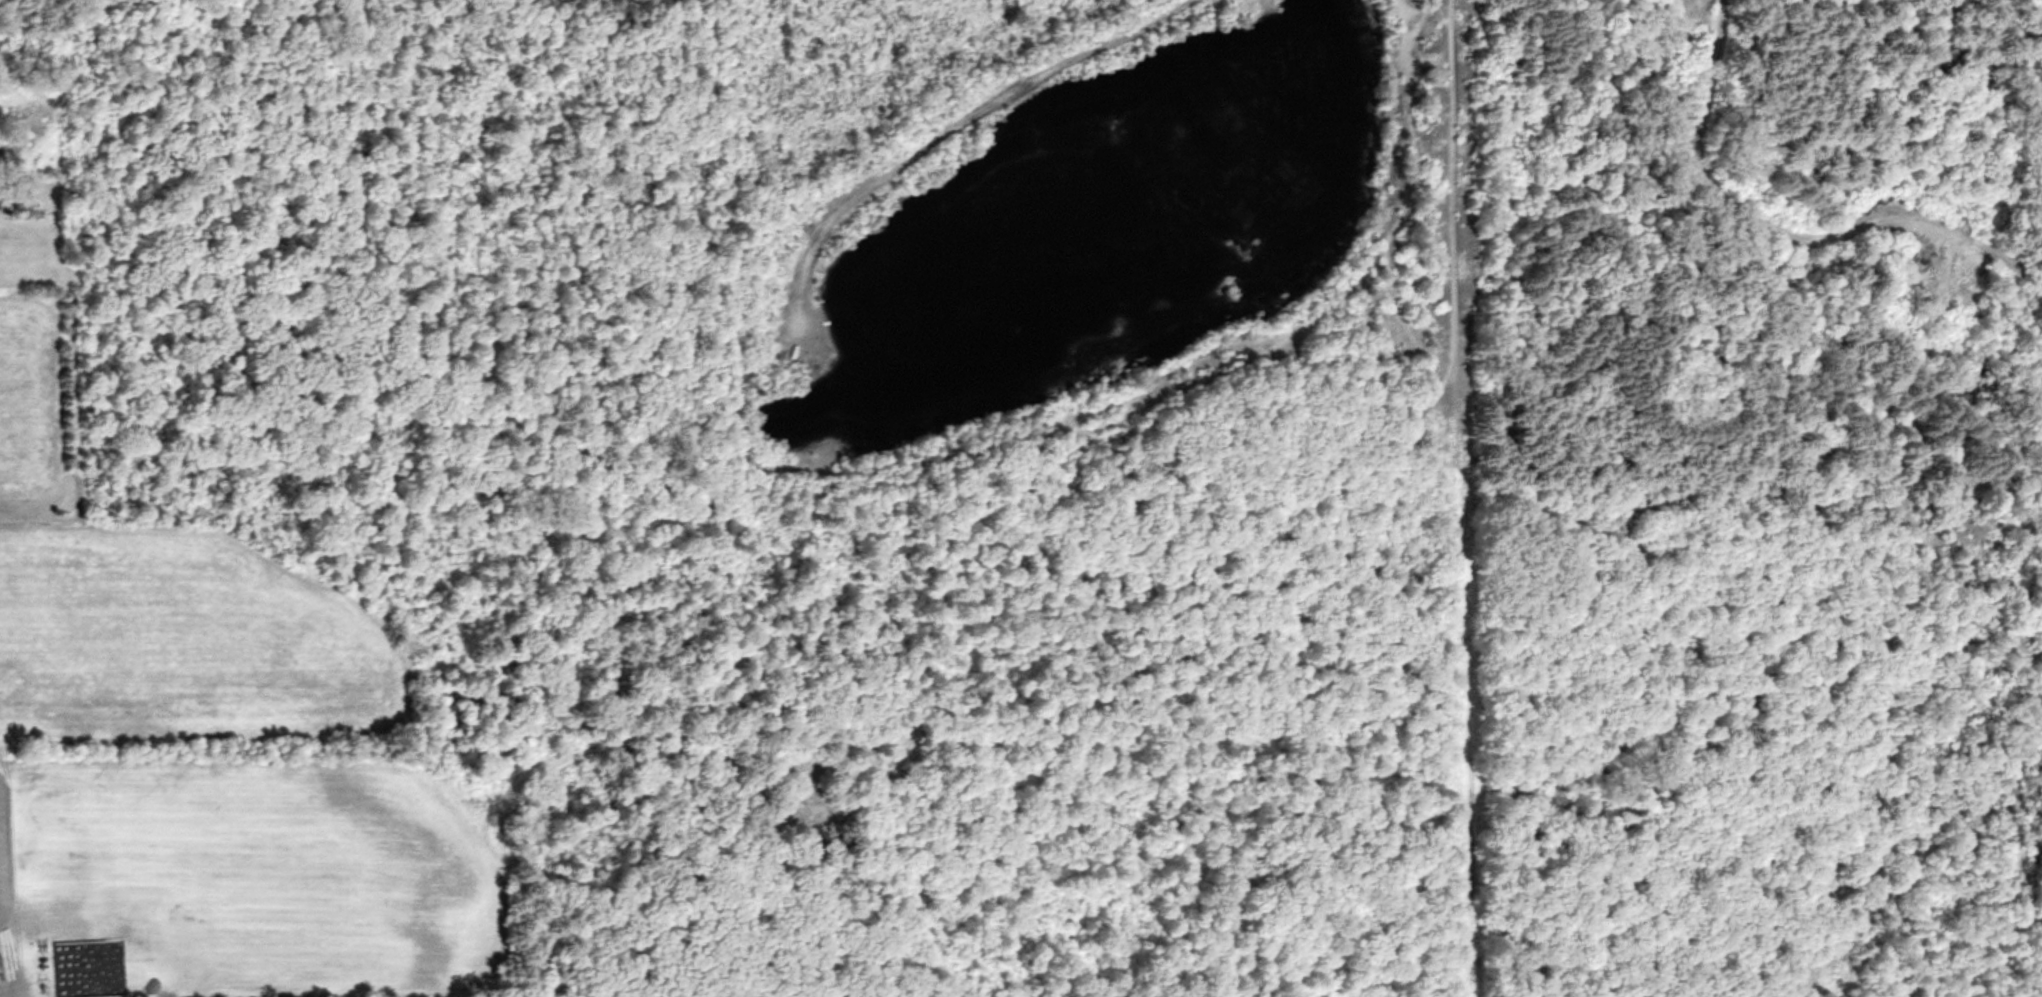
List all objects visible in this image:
road: (1674, 161)

